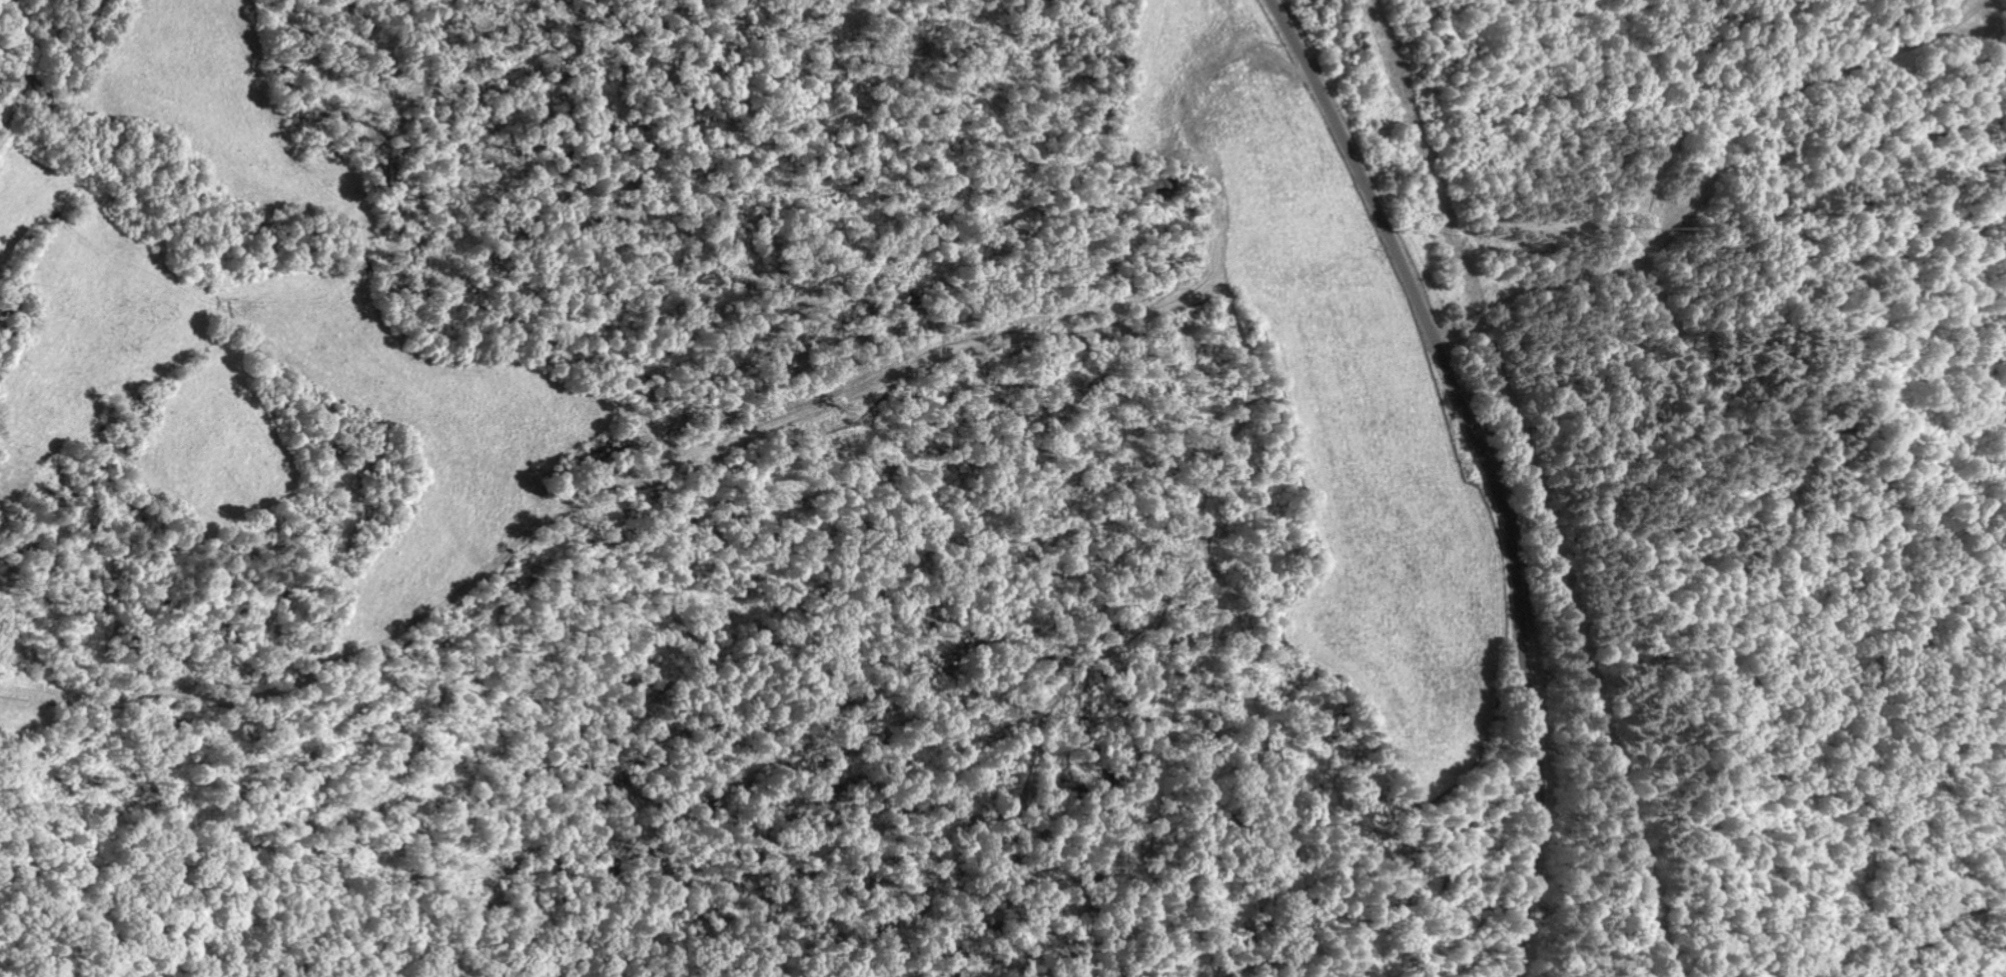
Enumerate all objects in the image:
road: (1489, 467)

